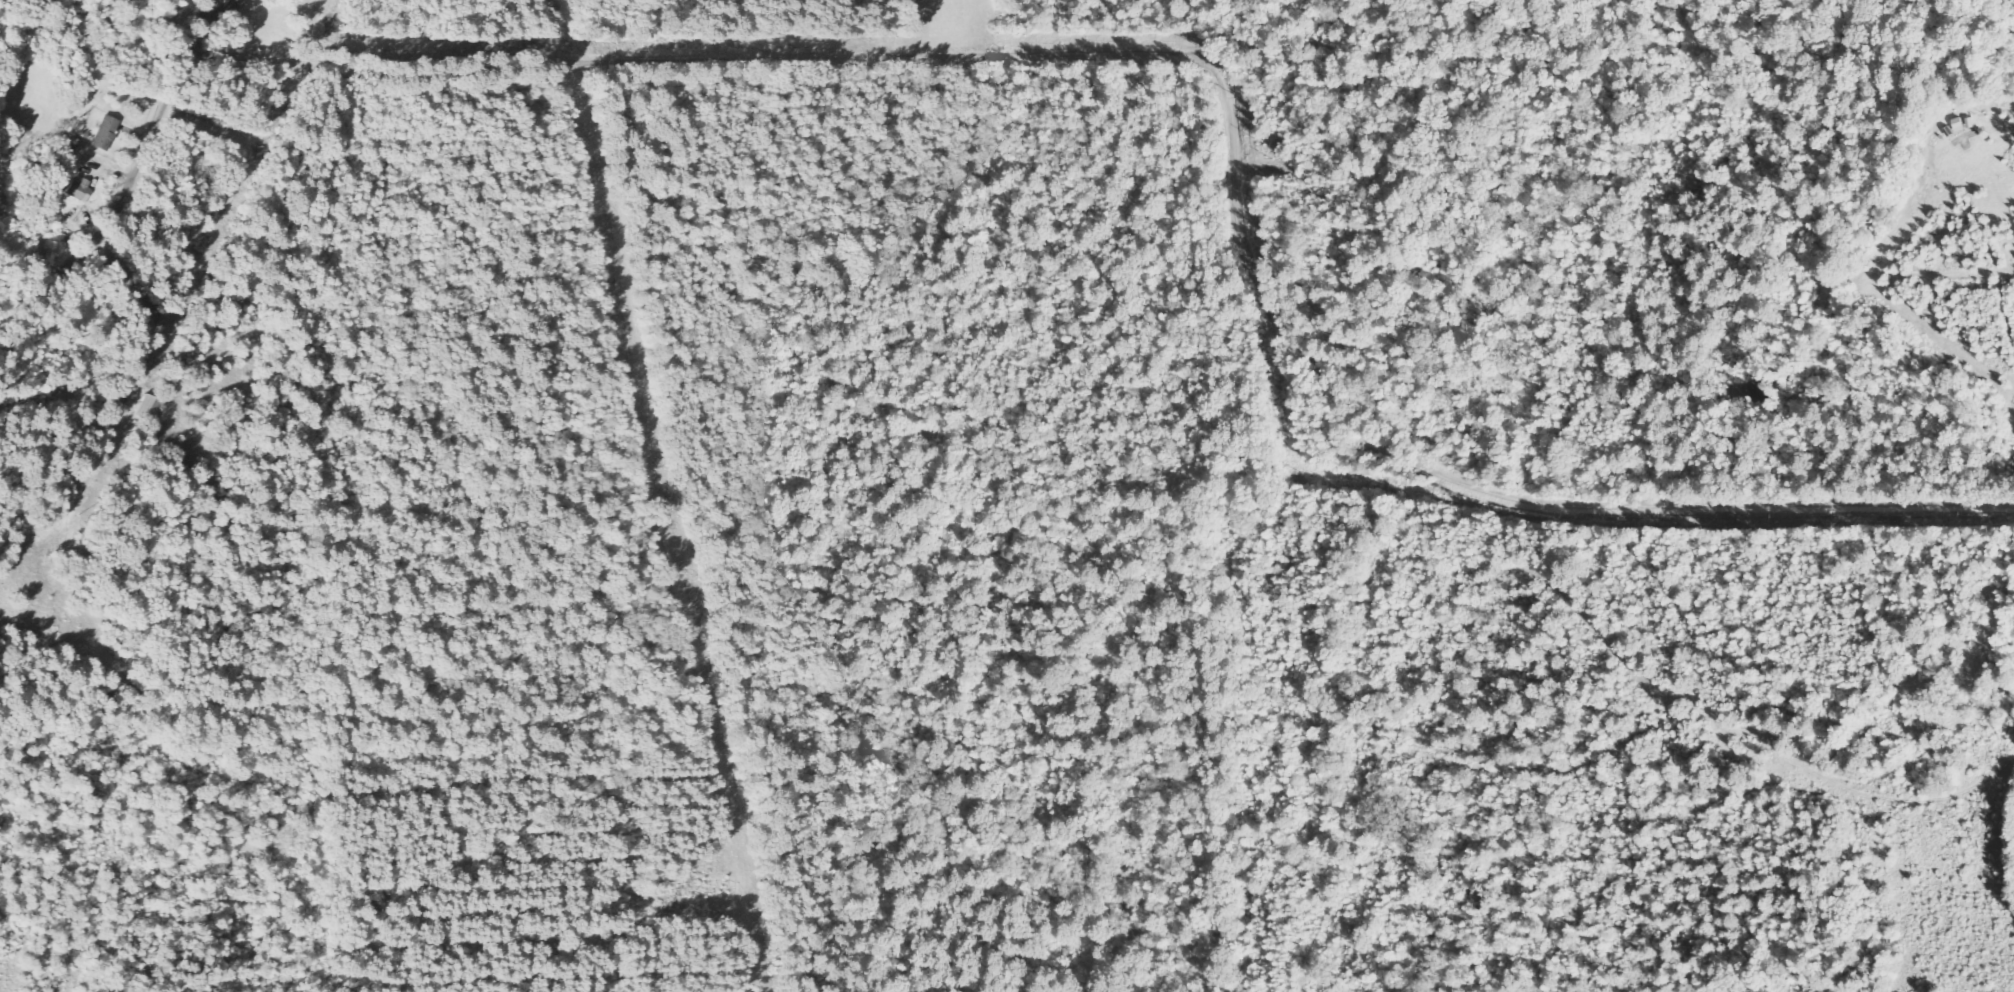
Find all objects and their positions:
building: (110, 133)
road: (1195, 142)
road: (133, 187)
building: (83, 190)
building: (152, 408)

